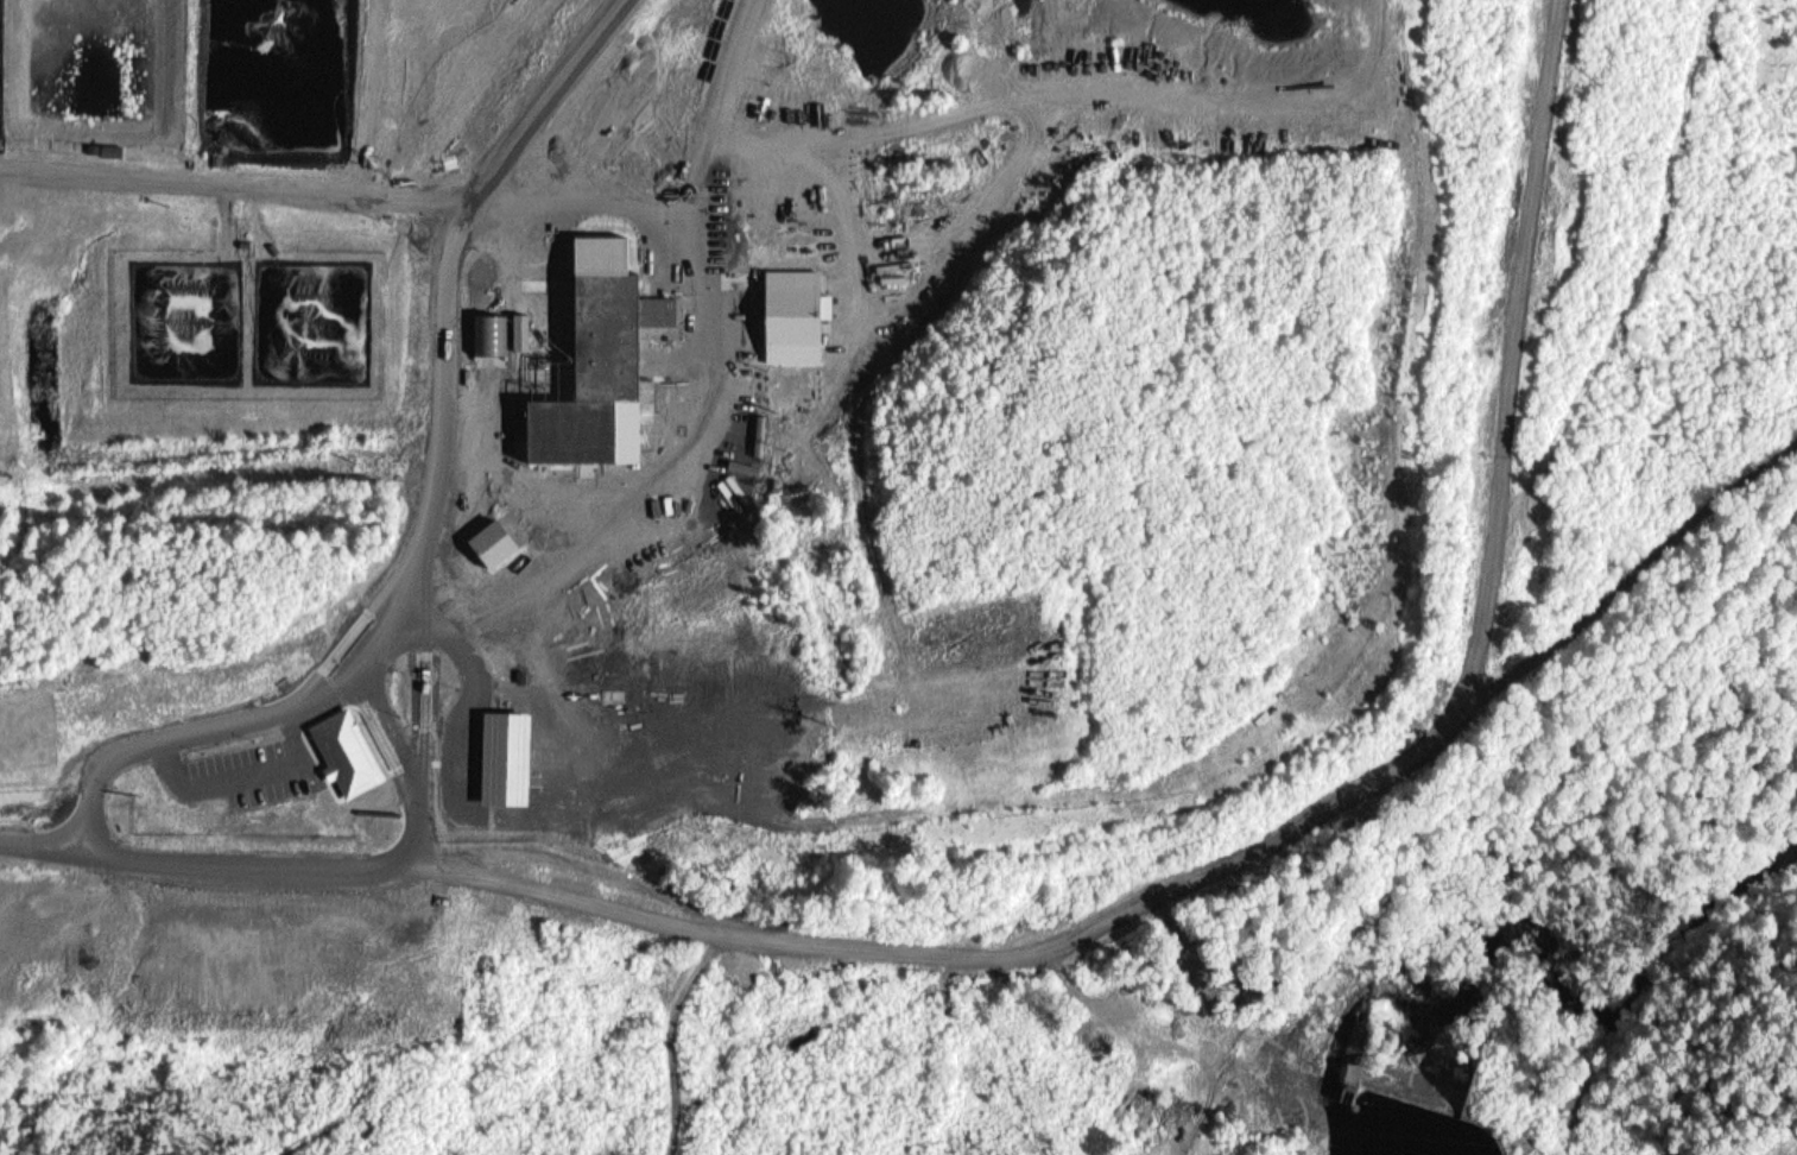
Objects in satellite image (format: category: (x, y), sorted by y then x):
road: (705, 234)
building: (801, 314)
building: (524, 330)
road: (1513, 332)
building: (614, 334)
landfill: (709, 417)
building: (500, 543)
road: (1430, 730)
road: (156, 831)
road: (650, 908)
river: (1568, 979)
road: (1665, 998)
road: (675, 1035)

